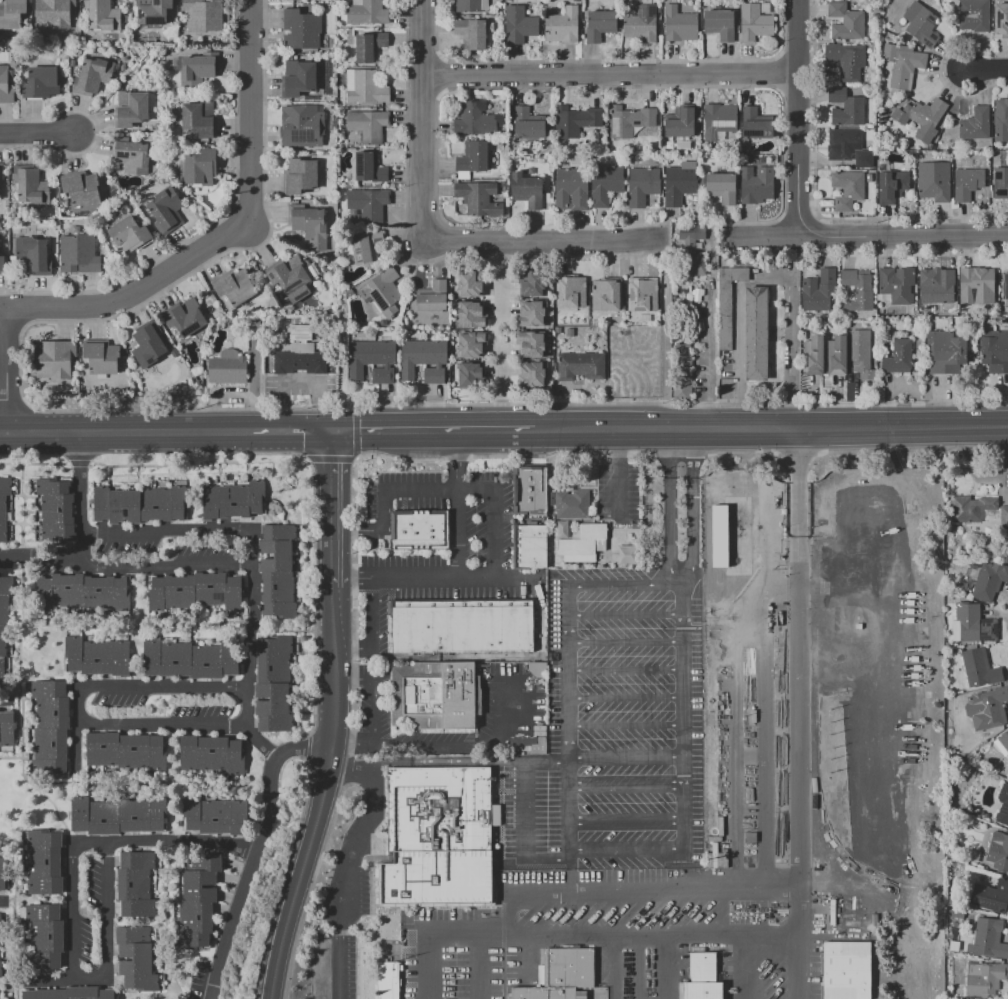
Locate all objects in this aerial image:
building: (471, 5)
building: (152, 11)
building: (366, 12)
building: (11, 13)
building: (53, 13)
building: (102, 15)
building: (204, 15)
building: (974, 15)
building: (1000, 20)
building: (845, 22)
building: (719, 23)
building: (754, 23)
building: (640, 24)
building: (679, 24)
building: (921, 24)
building: (519, 25)
building: (562, 25)
building: (599, 25)
building: (304, 30)
building: (471, 33)
building: (370, 47)
building: (846, 60)
building: (902, 64)
building: (197, 71)
road: (990, 71)
building: (93, 74)
building: (298, 78)
road: (612, 80)
building: (40, 83)
building: (5, 85)
building: (366, 86)
building: (845, 107)
building: (131, 108)
road: (249, 114)
road: (429, 115)
road: (794, 117)
building: (199, 118)
building: (921, 118)
building: (718, 119)
building: (476, 120)
building: (630, 120)
building: (1001, 121)
building: (577, 122)
building: (680, 123)
building: (755, 123)
building: (975, 123)
building: (368, 124)
building: (528, 124)
building: (302, 126)
road: (35, 137)
building: (844, 142)
building: (684, 145)
building: (132, 154)
building: (473, 156)
building: (863, 159)
building: (200, 167)
building: (369, 167)
building: (1, 172)
building: (299, 176)
building: (934, 181)
building: (967, 183)
building: (1000, 183)
building: (30, 184)
building: (605, 184)
building: (757, 184)
building: (678, 185)
building: (642, 186)
building: (80, 187)
building: (722, 187)
building: (891, 187)
building: (571, 189)
building: (847, 189)
building: (526, 190)
building: (478, 198)
building: (368, 202)
building: (164, 210)
building: (309, 225)
building: (129, 233)
road: (548, 233)
road: (862, 234)
building: (365, 245)
building: (692, 248)
building: (33, 254)
building: (78, 254)
building: (2, 263)
road: (501, 278)
building: (287, 282)
building: (532, 283)
building: (470, 284)
building: (896, 284)
building: (974, 285)
building: (1004, 287)
building: (233, 289)
building: (938, 289)
building: (857, 290)
building: (382, 292)
building: (817, 292)
building: (573, 295)
building: (606, 295)
building: (641, 296)
road: (137, 303)
building: (428, 303)
building: (726, 304)
building: (474, 315)
building: (534, 315)
road: (3, 316)
building: (187, 318)
building: (256, 325)
road: (737, 328)
building: (303, 334)
building: (755, 334)
building: (150, 345)
building: (474, 345)
building: (534, 345)
road: (790, 348)
building: (949, 352)
building: (996, 352)
road: (709, 354)
building: (816, 357)
building: (839, 357)
building: (99, 358)
building: (901, 358)
building: (51, 359)
building: (864, 359)
building: (426, 361)
building: (375, 362)
building: (303, 363)
building: (583, 367)
building: (230, 369)
building: (684, 374)
road: (6, 375)
building: (474, 376)
building: (535, 376)
road: (499, 383)
road: (299, 384)
road: (771, 428)
road: (432, 431)
road: (105, 432)
road: (267, 432)
traffic signals: (329, 432)
road: (355, 432)
road: (3, 434)
road: (330, 459)
road: (356, 460)
building: (532, 491)
road: (382, 497)
building: (236, 501)
road: (329, 504)
road: (459, 504)
building: (3, 505)
building: (142, 505)
building: (575, 506)
building: (974, 509)
building: (59, 511)
road: (494, 516)
building: (1005, 518)
road: (183, 531)
building: (421, 531)
road: (83, 535)
building: (584, 545)
building: (532, 547)
building: (626, 554)
road: (164, 566)
road: (683, 569)
road: (676, 570)
building: (280, 572)
road: (394, 579)
road: (498, 580)
building: (991, 582)
building: (198, 592)
building: (85, 593)
road: (313, 595)
building: (4, 620)
building: (460, 626)
building: (979, 626)
road: (369, 630)
road: (250, 643)
building: (100, 658)
building: (193, 660)
building: (982, 669)
building: (276, 685)
road: (146, 688)
building: (430, 695)
road: (4, 702)
building: (989, 710)
road: (374, 711)
road: (164, 722)
building: (7, 729)
building: (53, 729)
road: (351, 733)
road: (258, 740)
building: (1005, 741)
road: (469, 744)
road: (300, 747)
road: (307, 747)
road: (77, 749)
building: (128, 752)
building: (214, 755)
road: (625, 759)
road: (625, 783)
road: (322, 791)
building: (1004, 807)
road: (568, 810)
building: (120, 816)
building: (218, 817)
road: (625, 819)
building: (436, 838)
road: (182, 841)
building: (1000, 852)
road: (351, 860)
road: (534, 860)
building: (47, 863)
road: (800, 863)
building: (2, 873)
road: (570, 877)
road: (246, 878)
road: (283, 879)
building: (138, 885)
building: (992, 897)
building: (200, 902)
building: (955, 902)
road: (2, 904)
building: (959, 914)
road: (657, 936)
building: (47, 937)
building: (988, 939)
road: (422, 940)
building: (139, 959)
building: (0, 966)
road: (613, 967)
road: (636, 967)
road: (666, 967)
road: (742, 967)
road: (798, 967)
building: (849, 971)
building: (561, 975)
road: (76, 976)
building: (702, 977)
building: (984, 978)
building: (387, 980)
road: (52, 983)
building: (69, 993)

